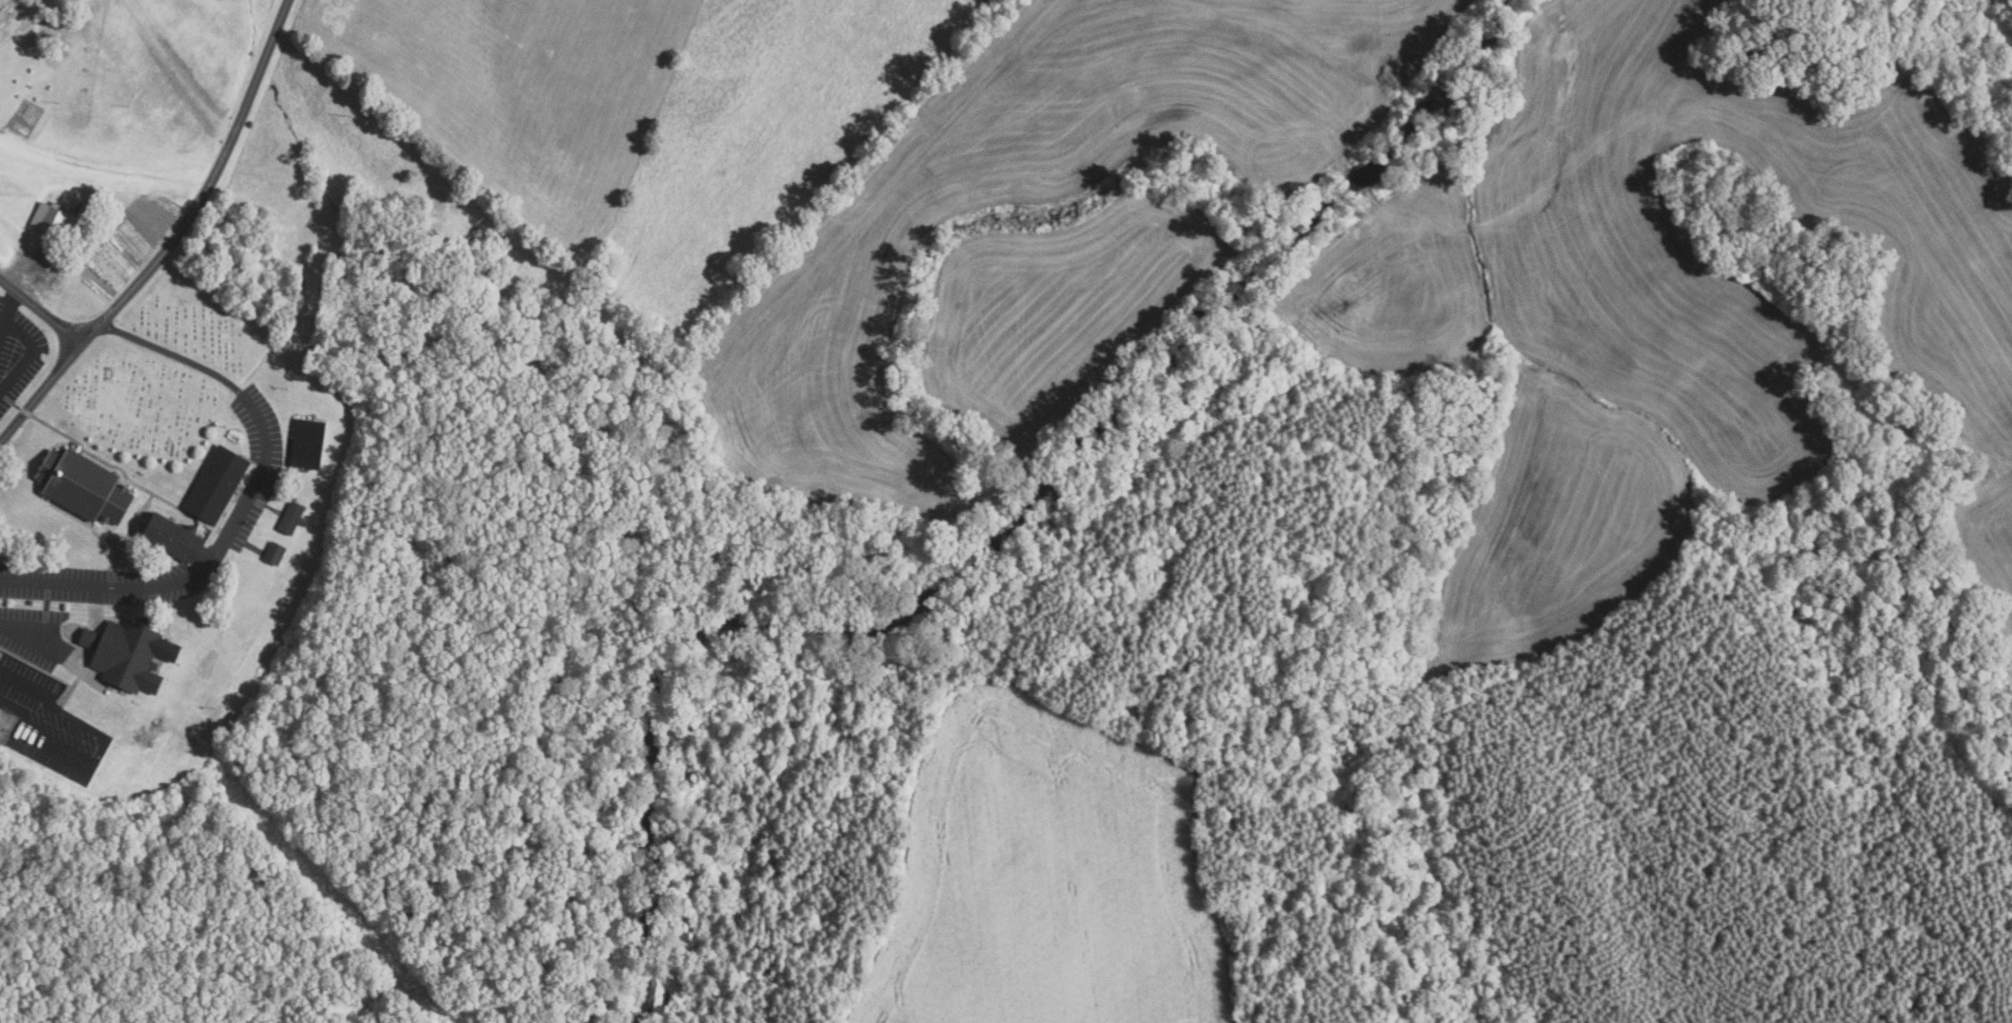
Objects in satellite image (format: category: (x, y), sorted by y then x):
crop: (92, 204)
building: (50, 218)
crop: (1046, 236)
road: (174, 240)
crop: (1665, 307)
road: (42, 311)
road: (8, 314)
parking lot: (17, 354)
park: (164, 368)
building: (308, 443)
building: (85, 484)
building: (218, 484)
road: (243, 508)
building: (293, 516)
parking lot: (242, 518)
building: (175, 535)
building: (276, 553)
road: (30, 642)
building: (128, 652)
road: (20, 682)
parking lot: (42, 697)
crop: (1042, 877)

